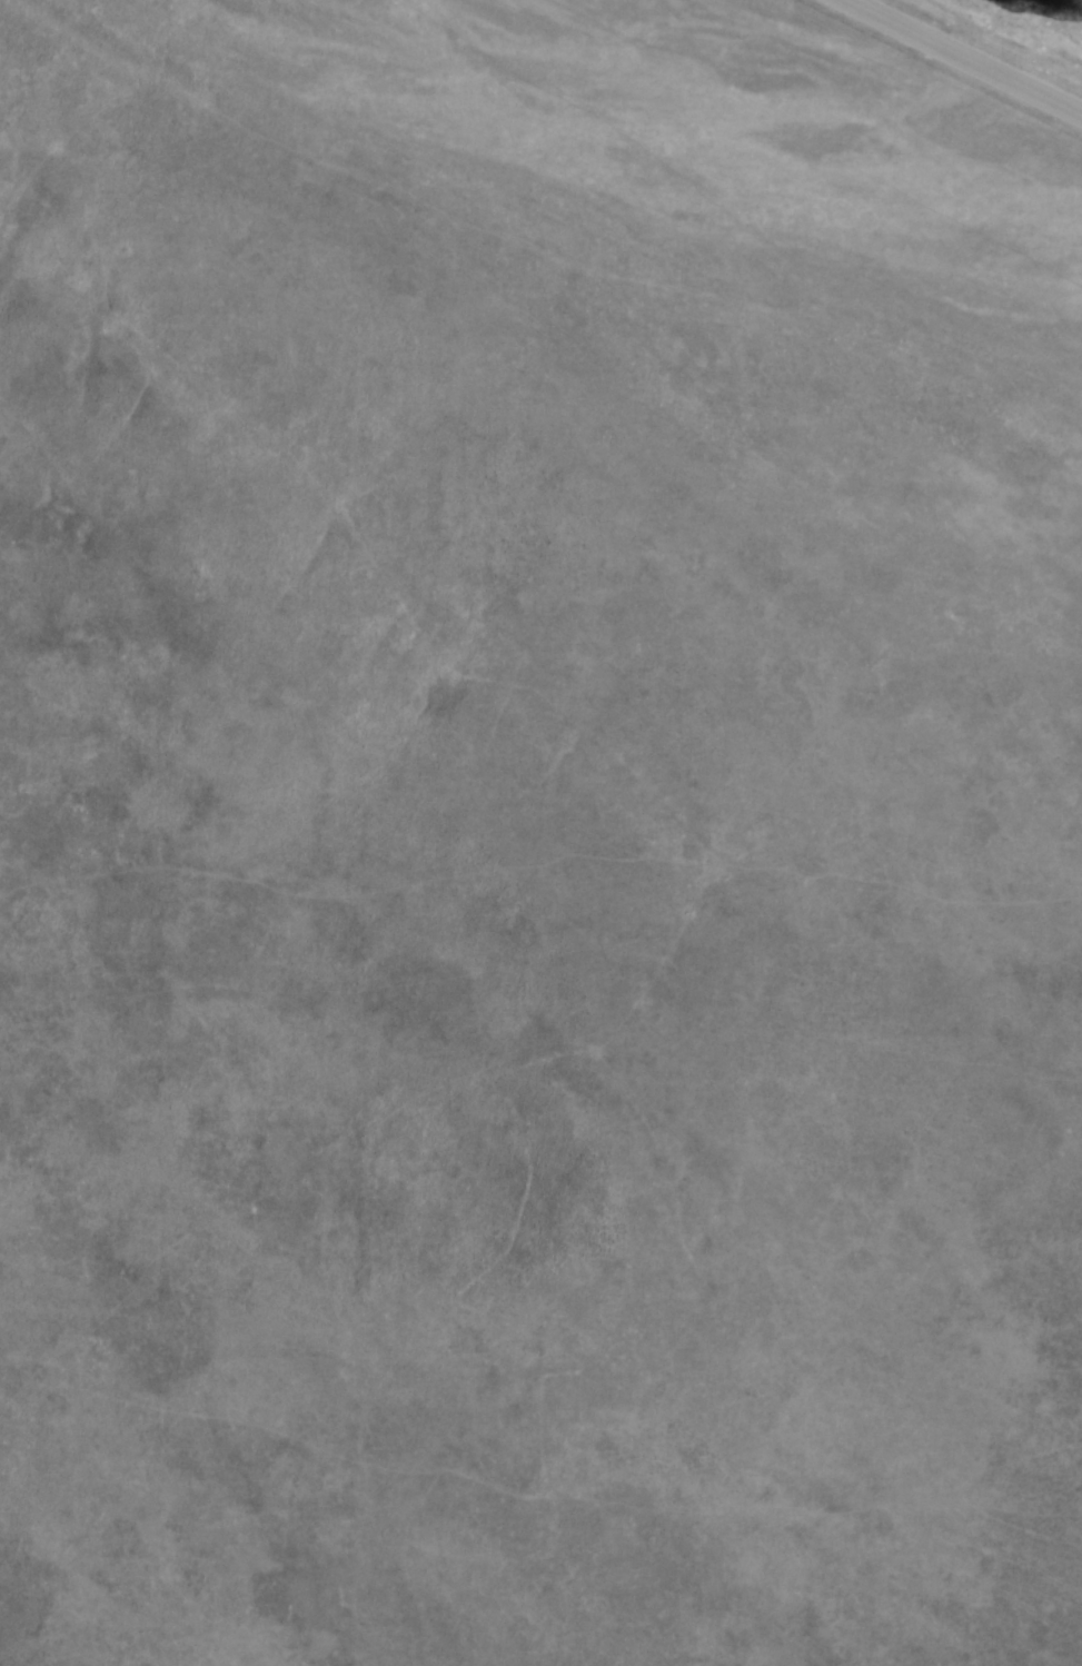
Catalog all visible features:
road: (956, 61)

